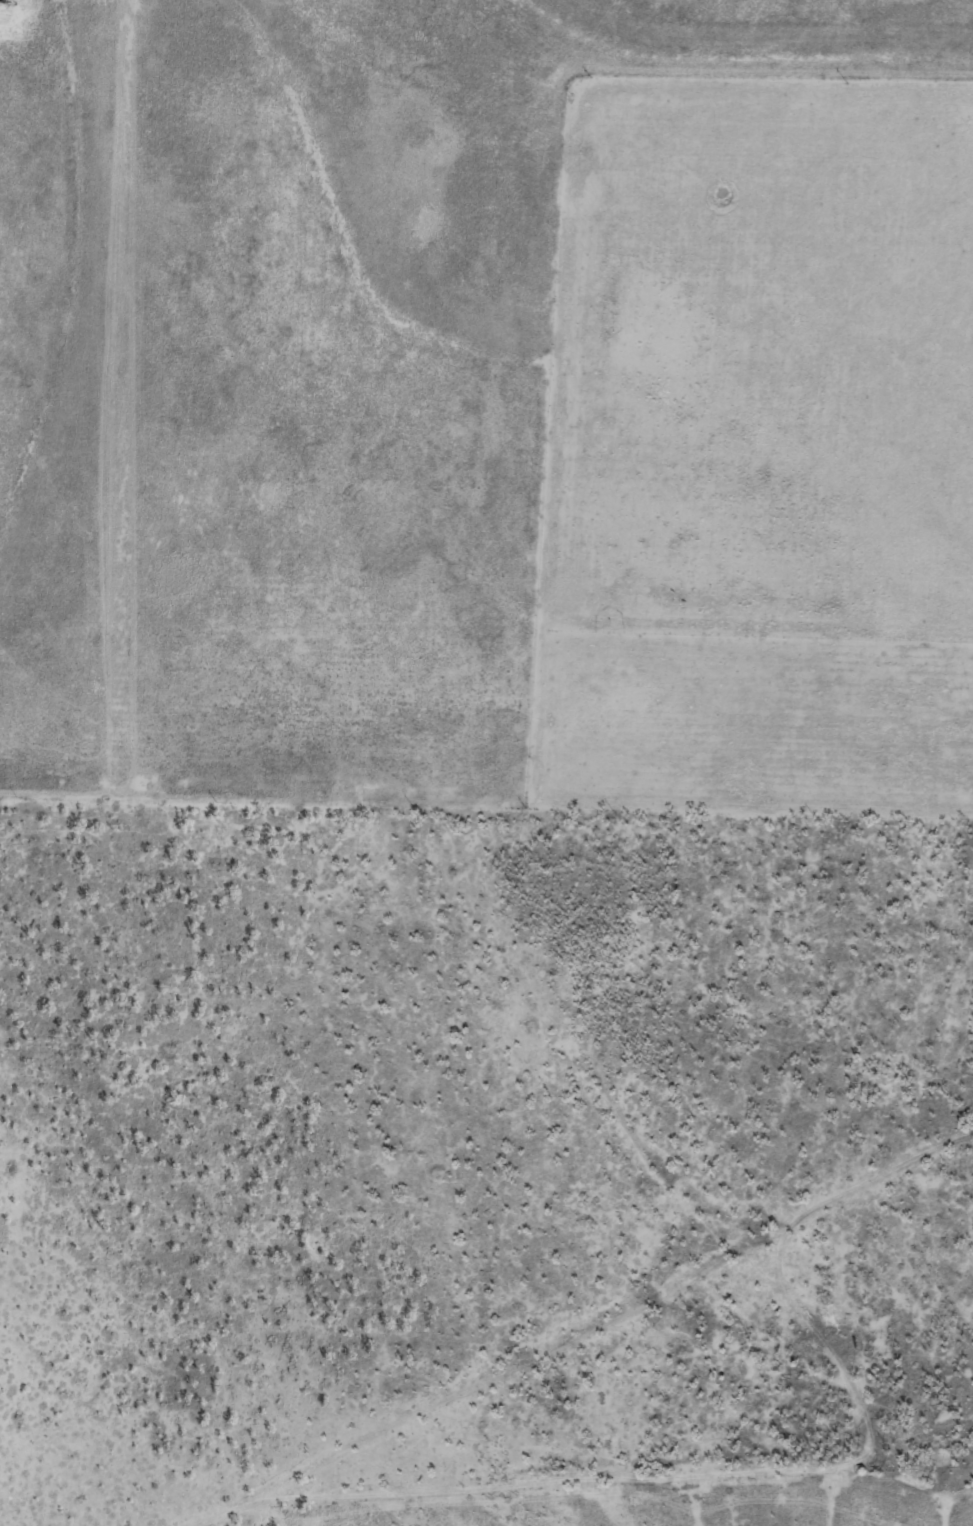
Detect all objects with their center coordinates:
road: (596, 1320)

